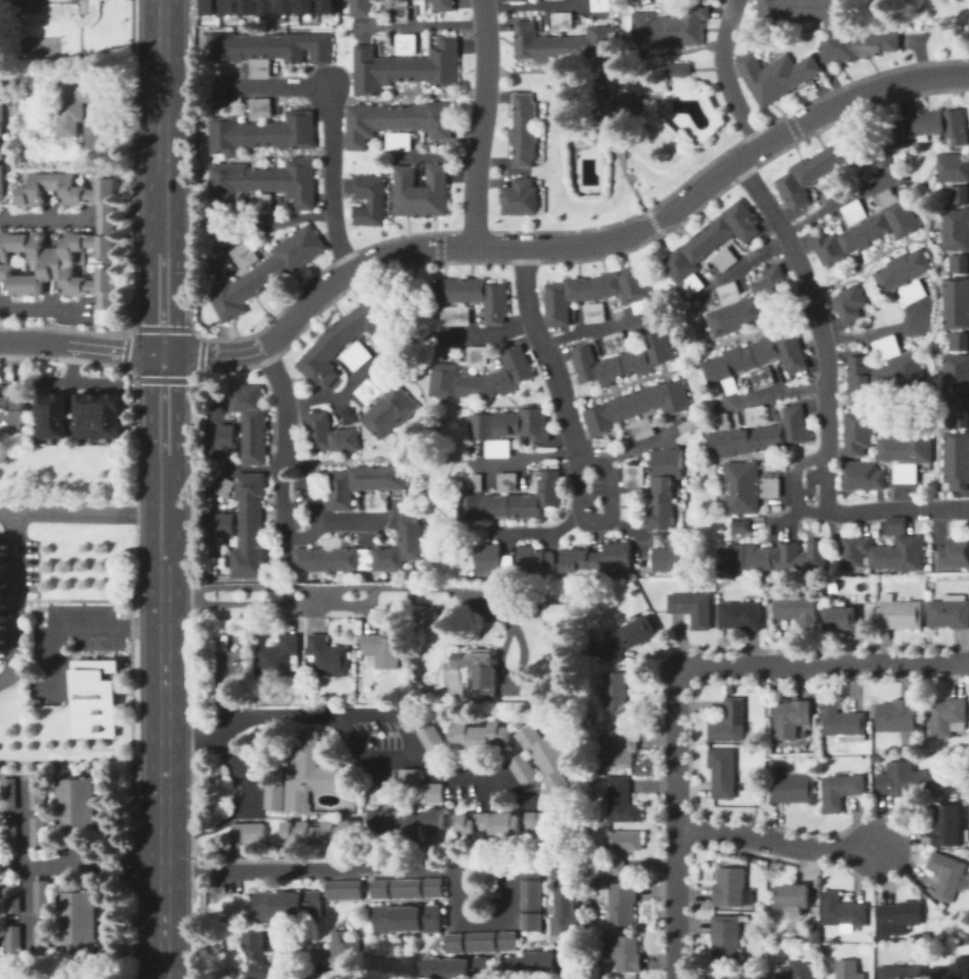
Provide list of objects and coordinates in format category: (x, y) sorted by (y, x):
building: (518, 0)
building: (635, 0)
road: (27, 4)
road: (532, 4)
building: (916, 4)
building: (601, 5)
building: (207, 6)
building: (228, 6)
building: (267, 6)
building: (287, 6)
building: (306, 6)
building: (326, 6)
building: (444, 6)
building: (247, 7)
building: (668, 7)
building: (360, 8)
building: (400, 11)
building: (809, 11)
building: (563, 21)
road: (419, 25)
building: (669, 28)
building: (563, 43)
building: (407, 44)
park: (39, 45)
building: (859, 45)
building: (271, 49)
building: (677, 67)
building: (406, 68)
road: (725, 75)
building: (777, 76)
road: (277, 85)
building: (219, 93)
building: (75, 104)
building: (615, 106)
building: (2, 111)
road: (672, 113)
building: (397, 121)
road: (479, 122)
building: (263, 130)
building: (524, 130)
building: (924, 131)
building: (399, 141)
road: (594, 168)
building: (822, 168)
building: (953, 168)
building: (870, 172)
road: (329, 178)
building: (1, 181)
building: (264, 184)
building: (833, 185)
building: (422, 191)
building: (959, 195)
building: (521, 197)
building: (371, 199)
road: (836, 200)
building: (855, 212)
road: (276, 219)
road: (46, 221)
building: (955, 229)
building: (868, 231)
building: (64, 242)
building: (711, 242)
road: (569, 245)
road: (949, 252)
building: (245, 255)
building: (725, 258)
road: (745, 261)
building: (959, 264)
building: (216, 269)
building: (902, 270)
building: (268, 272)
building: (443, 289)
building: (470, 289)
building: (596, 292)
building: (914, 292)
building: (494, 302)
building: (748, 303)
building: (956, 303)
building: (850, 304)
road: (46, 309)
building: (596, 313)
building: (453, 315)
road: (593, 329)
road: (874, 330)
road: (484, 334)
road: (742, 334)
building: (341, 340)
building: (380, 340)
building: (959, 341)
building: (617, 343)
road: (80, 345)
building: (888, 348)
road: (544, 350)
building: (441, 351)
traffic signals: (161, 352)
building: (478, 355)
building: (356, 356)
building: (627, 358)
building: (756, 359)
building: (886, 375)
building: (763, 377)
building: (481, 378)
building: (956, 380)
road: (338, 392)
building: (368, 392)
road: (772, 392)
road: (826, 393)
road: (280, 395)
building: (222, 403)
building: (638, 406)
building: (13, 410)
building: (56, 410)
building: (101, 411)
building: (390, 411)
building: (757, 414)
building: (349, 417)
road: (162, 418)
building: (959, 418)
building: (726, 422)
building: (252, 423)
building: (689, 426)
building: (509, 428)
building: (644, 428)
building: (859, 433)
building: (331, 435)
building: (229, 436)
building: (762, 436)
building: (603, 442)
road: (214, 446)
road: (636, 448)
building: (908, 451)
road: (523, 458)
building: (957, 461)
road: (220, 472)
building: (634, 476)
building: (864, 476)
building: (508, 482)
building: (363, 483)
building: (226, 487)
building: (742, 487)
building: (771, 487)
road: (592, 493)
road: (796, 493)
building: (664, 494)
road: (294, 500)
parking lot: (296, 500)
building: (509, 500)
building: (377, 502)
road: (815, 510)
road: (81, 513)
road: (602, 520)
road: (348, 521)
building: (226, 525)
building: (250, 526)
building: (741, 527)
road: (632, 529)
road: (539, 531)
road: (300, 536)
building: (885, 550)
building: (955, 552)
building: (364, 554)
building: (774, 556)
building: (489, 558)
building: (598, 559)
building: (669, 559)
building: (535, 560)
building: (215, 564)
building: (507, 564)
road: (432, 588)
road: (178, 592)
building: (130, 593)
road: (287, 594)
road: (316, 595)
road: (15, 599)
building: (537, 599)
road: (287, 603)
building: (693, 609)
building: (799, 610)
building: (564, 612)
building: (949, 612)
building: (900, 614)
building: (425, 616)
building: (742, 616)
building: (841, 619)
road: (145, 628)
building: (639, 630)
road: (57, 631)
building: (382, 649)
building: (278, 657)
building: (329, 657)
road: (221, 660)
road: (824, 663)
building: (478, 673)
building: (96, 697)
building: (617, 698)
building: (770, 711)
road: (388, 713)
building: (897, 716)
building: (948, 717)
building: (791, 718)
building: (732, 722)
building: (844, 723)
parking lot: (377, 733)
building: (481, 736)
road: (351, 739)
building: (431, 739)
building: (621, 748)
building: (547, 755)
building: (306, 770)
building: (522, 770)
building: (723, 772)
parking lot: (381, 774)
building: (407, 775)
building: (901, 782)
road: (245, 783)
building: (792, 788)
parking lot: (458, 790)
building: (433, 791)
building: (841, 791)
building: (38, 793)
building: (9, 794)
building: (273, 795)
parking lot: (497, 796)
building: (622, 801)
building: (78, 803)
road: (675, 822)
building: (507, 824)
building: (408, 825)
building: (950, 825)
building: (246, 831)
building: (39, 832)
building: (319, 832)
building: (10, 833)
road: (773, 840)
building: (622, 848)
road: (163, 852)
road: (81, 866)
road: (410, 868)
building: (530, 868)
road: (25, 870)
building: (947, 875)
building: (432, 886)
building: (378, 887)
building: (405, 887)
building: (731, 887)
building: (342, 888)
building: (530, 893)
building: (794, 896)
building: (42, 897)
building: (566, 898)
building: (623, 903)
building: (288, 904)
building: (13, 906)
building: (844, 912)
building: (405, 917)
building: (901, 917)
building: (531, 920)
building: (944, 921)
building: (80, 922)
road: (163, 923)
building: (591, 933)
building: (727, 937)
building: (507, 939)
building: (480, 940)
building: (42, 941)
building: (453, 941)
building: (14, 942)
building: (342, 943)
building: (625, 952)
building: (260, 953)
building: (913, 956)
building: (939, 959)
building: (538, 960)
building: (459, 968)
building: (799, 969)
building: (849, 969)
building: (952, 970)
building: (901, 972)
building: (736, 977)

